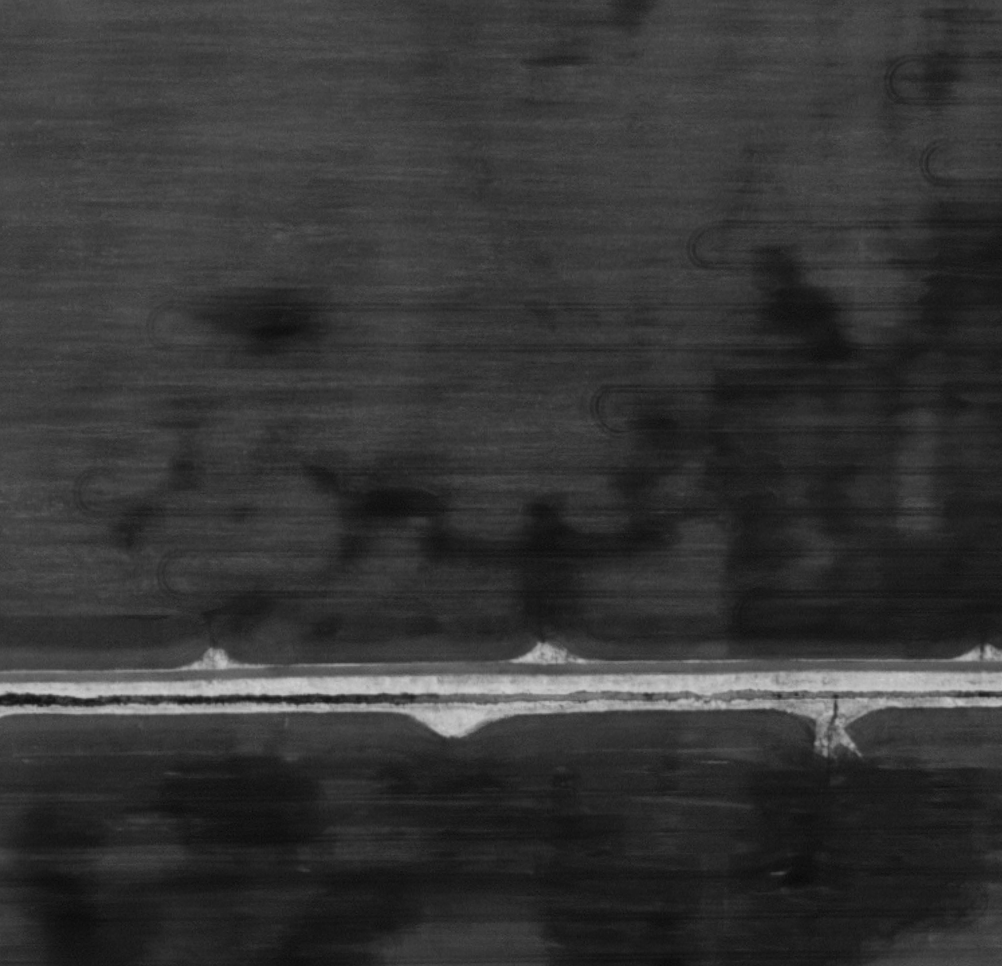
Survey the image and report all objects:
road: (500, 671)

